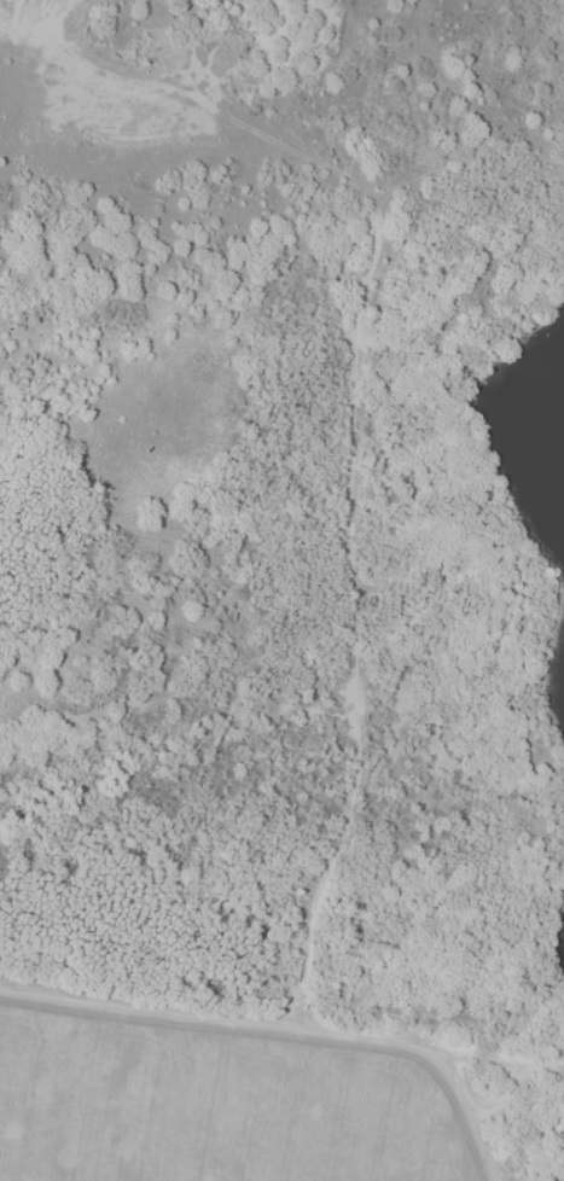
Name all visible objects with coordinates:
road: (112, 982)

